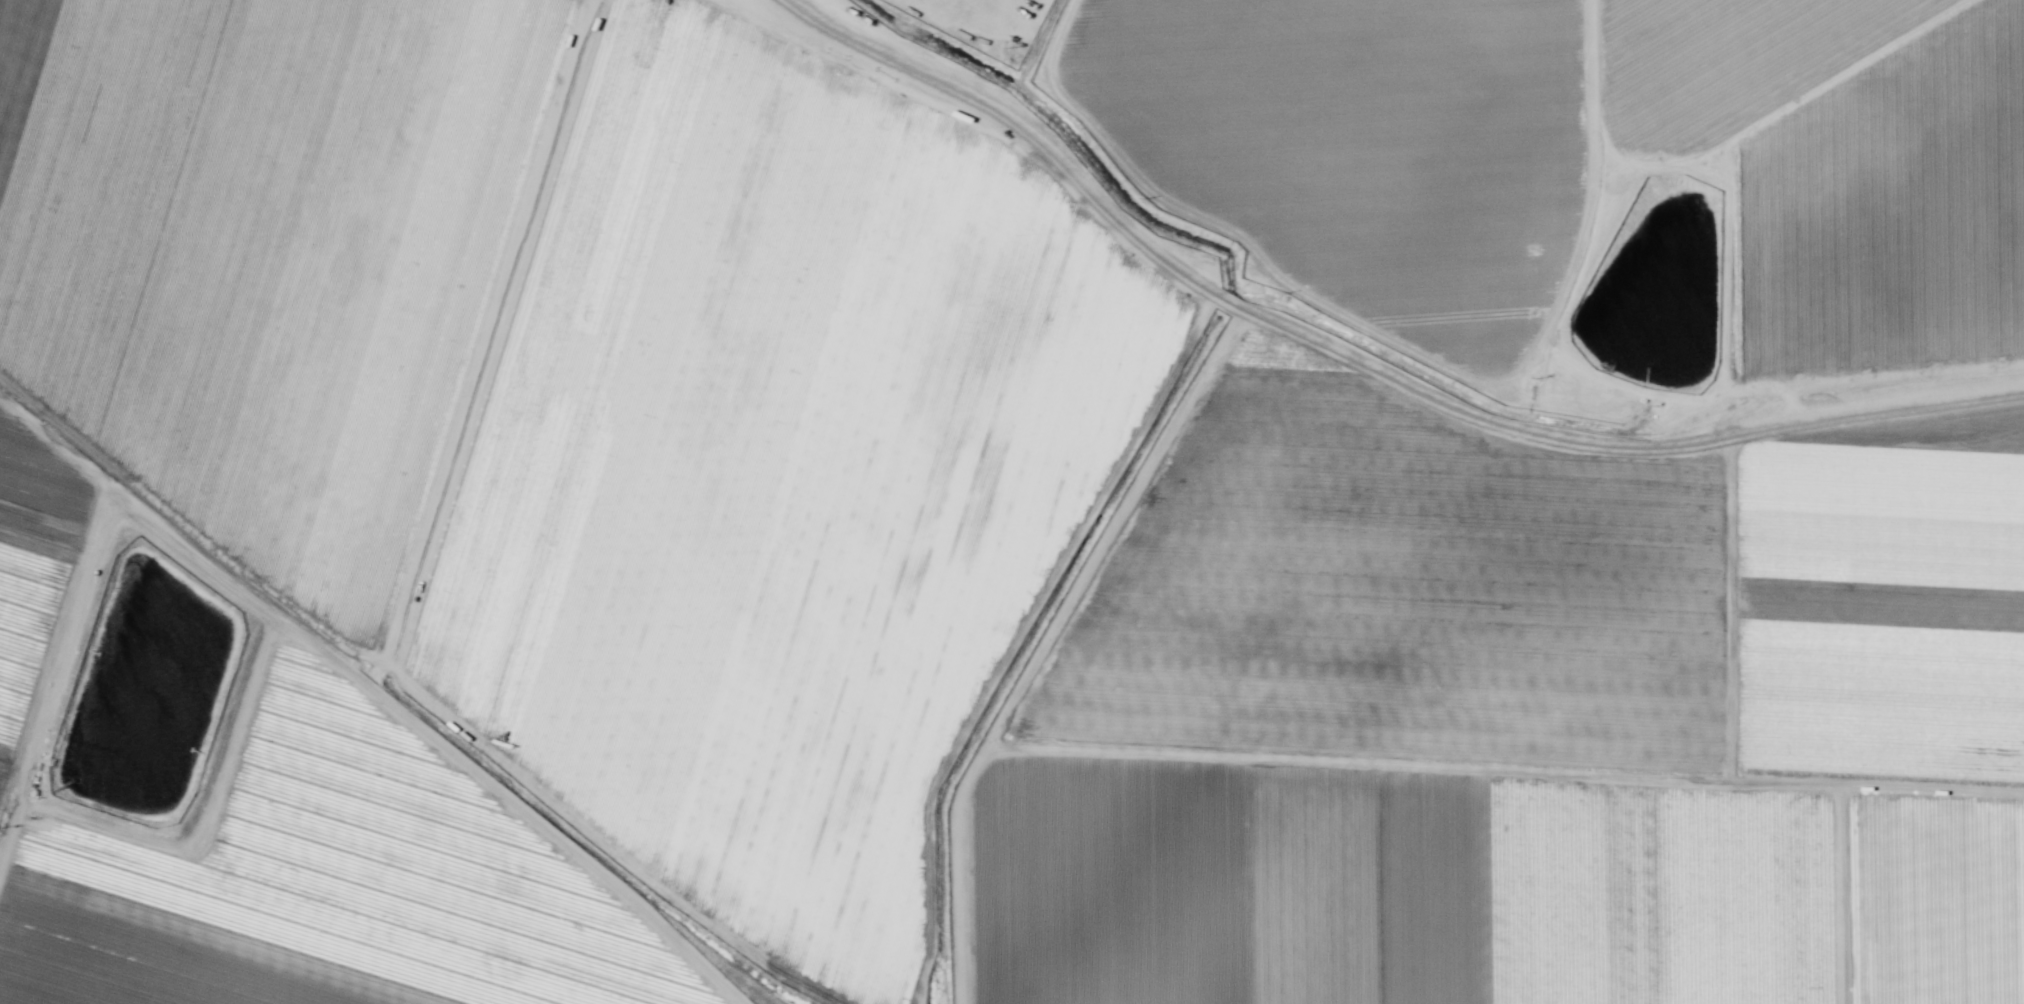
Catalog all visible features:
road: (880, 27)
road: (1362, 363)
crop: (1012, 504)
road: (189, 528)
road: (416, 565)
road: (56, 670)
wastewater plant: (148, 713)
road: (1729, 774)

